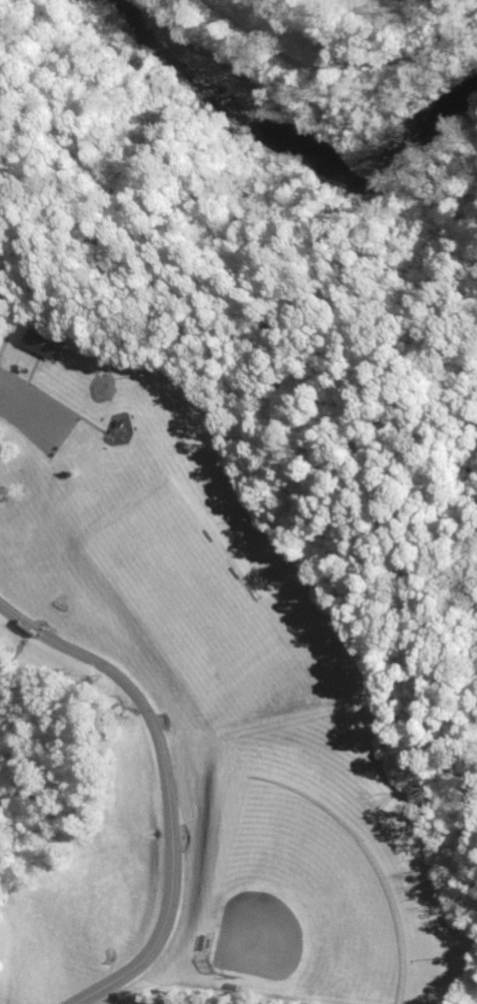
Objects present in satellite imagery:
road: (284, 311)
road: (13, 317)
building: (43, 341)
road: (27, 409)
parking lot: (35, 413)
road: (94, 423)
park: (225, 550)
road: (165, 787)
road: (463, 839)
park: (299, 902)
road: (459, 975)

